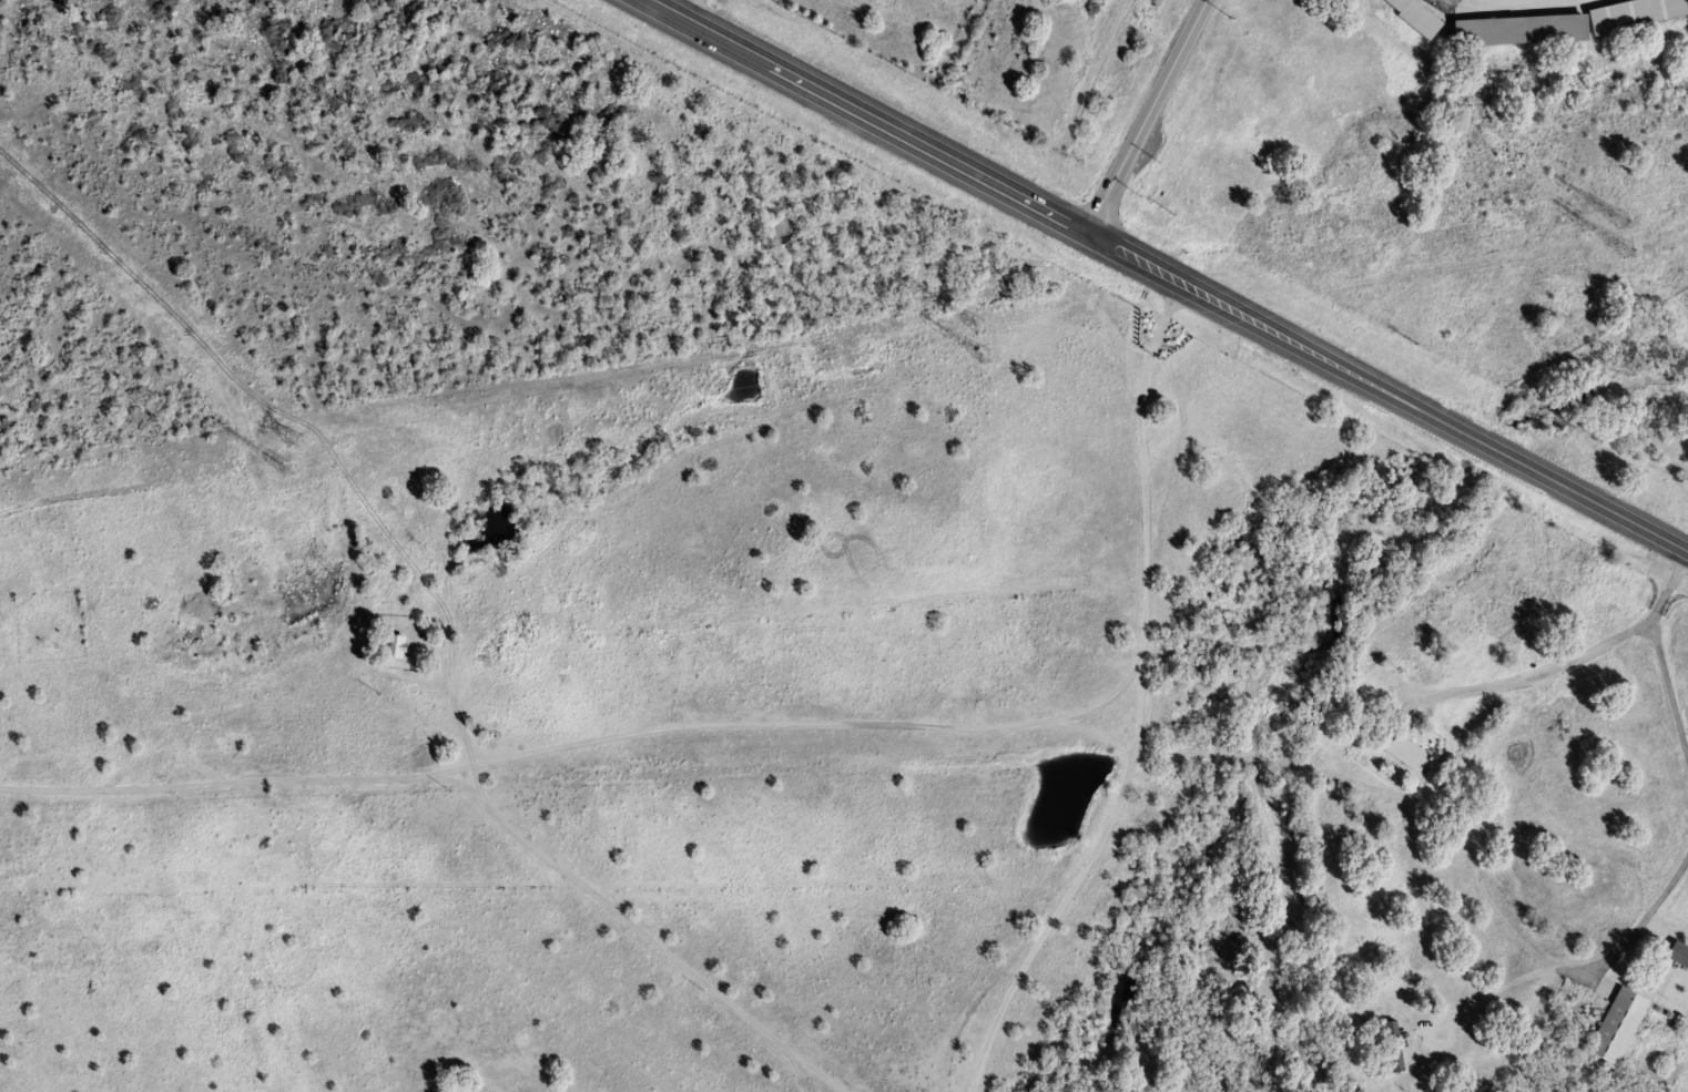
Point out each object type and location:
building: (1633, 14)
building: (1411, 17)
building: (1515, 31)
road: (1143, 118)
power tower: (1618, 220)
power tower: (1614, 254)
road: (1161, 276)
power tower: (977, 325)
power tower: (974, 360)
power tower: (293, 439)
power tower: (233, 481)
road: (1687, 553)
road: (1659, 661)
road: (1534, 672)
road: (1137, 703)
road: (825, 726)
building: (1402, 751)
road: (1636, 927)
building: (1676, 955)
building: (1614, 1027)
building: (1392, 1045)

